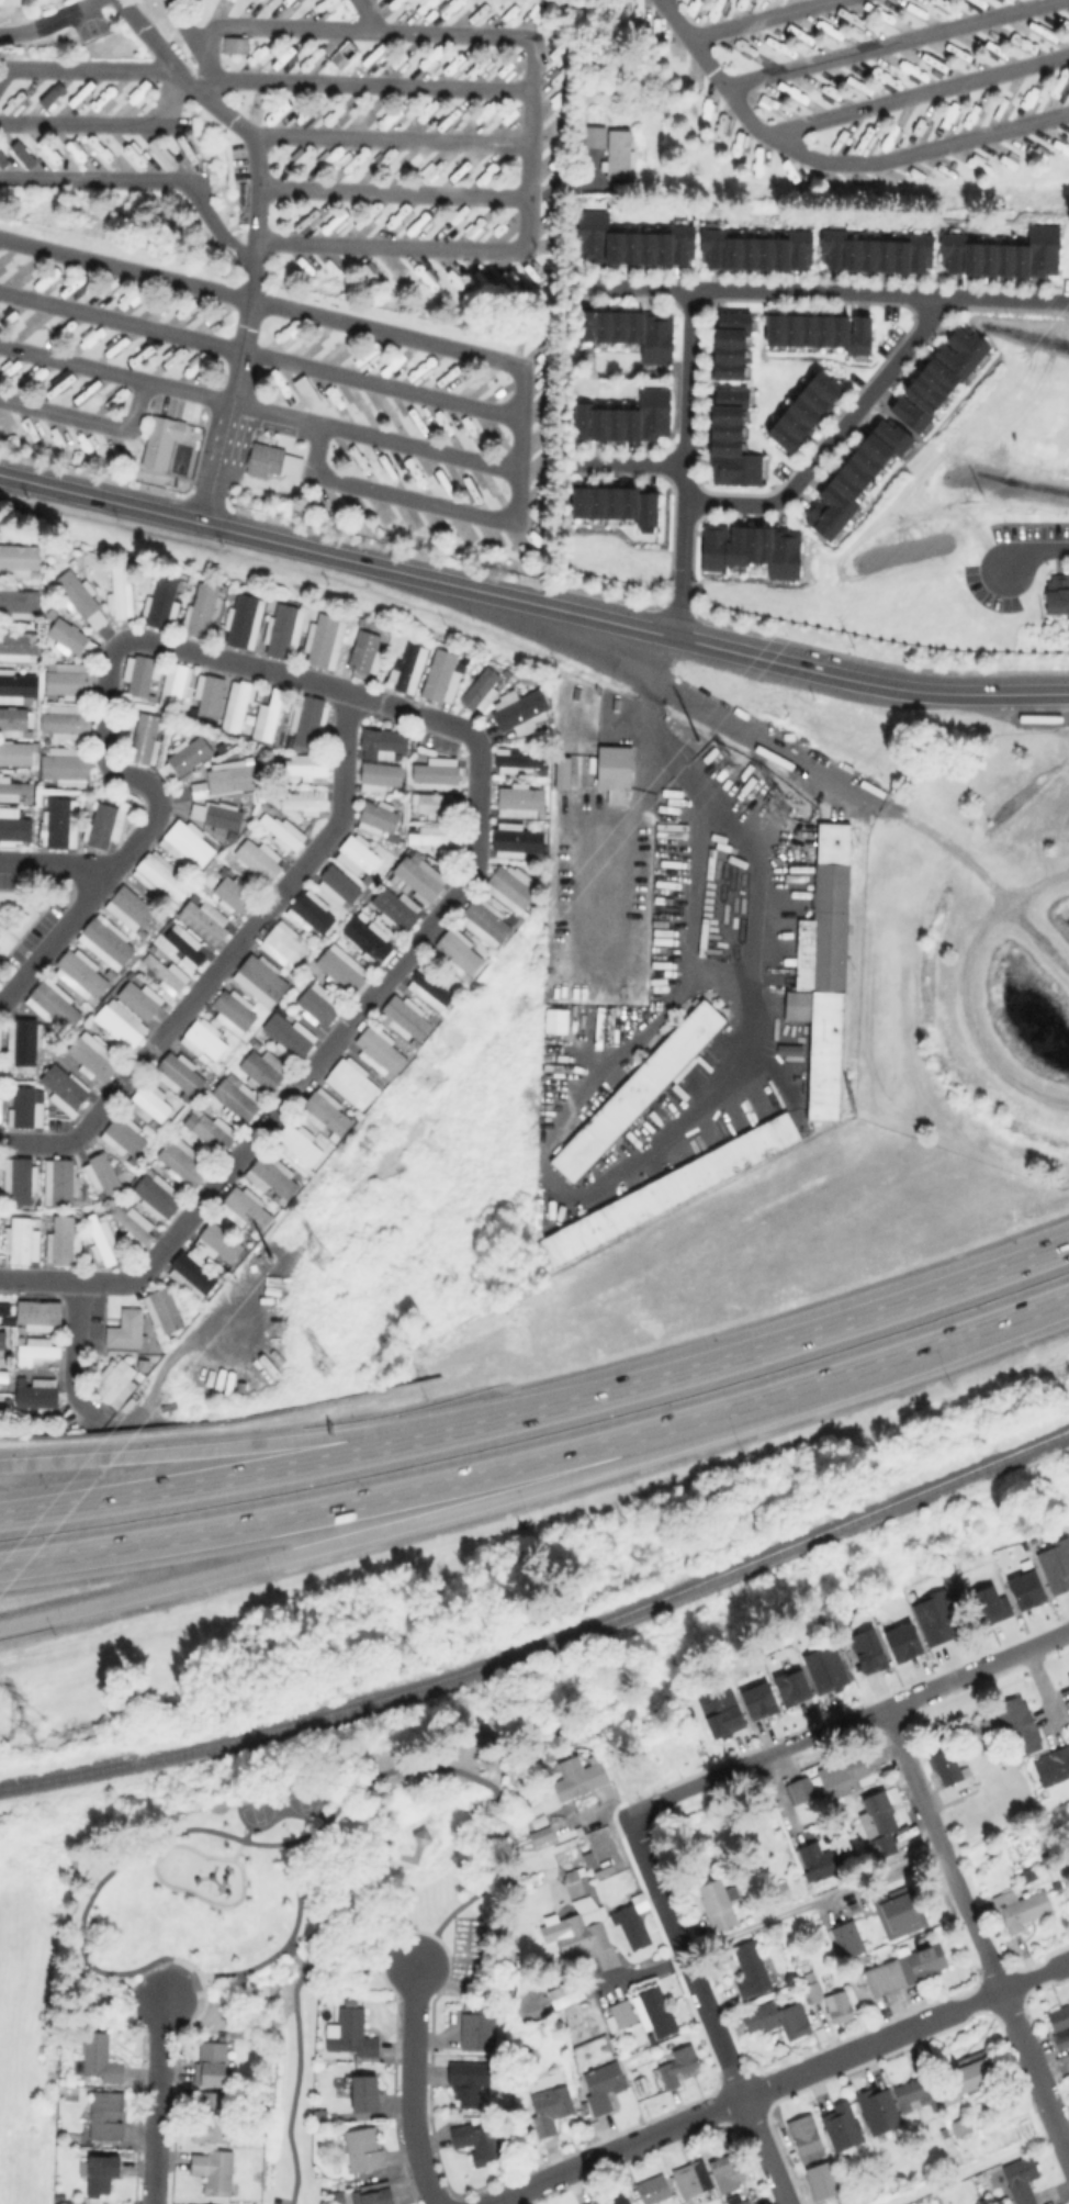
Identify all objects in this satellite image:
road: (363, 14)
road: (753, 18)
road: (49, 24)
road: (885, 42)
building: (234, 44)
building: (342, 54)
road: (83, 67)
road: (326, 80)
road: (205, 85)
road: (915, 93)
building: (47, 96)
building: (12, 99)
road: (529, 100)
road: (89, 121)
road: (387, 136)
building: (594, 136)
building: (21, 153)
building: (160, 153)
building: (616, 153)
building: (1, 159)
road: (831, 160)
road: (91, 176)
road: (392, 190)
road: (213, 224)
road: (255, 237)
building: (632, 242)
building: (758, 251)
building: (878, 253)
building: (1004, 255)
road: (762, 291)
road: (1001, 299)
building: (824, 332)
building: (633, 333)
building: (734, 345)
road: (460, 349)
road: (259, 354)
road: (688, 377)
building: (942, 377)
building: (305, 392)
road: (257, 410)
building: (806, 413)
road: (87, 417)
building: (628, 419)
building: (159, 439)
road: (833, 439)
building: (733, 441)
building: (270, 460)
road: (632, 462)
building: (856, 480)
building: (618, 505)
road: (277, 542)
building: (753, 549)
road: (682, 552)
road: (1036, 552)
building: (18, 556)
building: (120, 591)
building: (74, 593)
building: (1057, 595)
building: (19, 600)
building: (159, 601)
building: (200, 609)
building: (49, 612)
building: (239, 619)
building: (280, 628)
building: (65, 636)
building: (320, 638)
building: (18, 641)
building: (361, 650)
building: (405, 661)
road: (809, 669)
road: (646, 672)
building: (138, 674)
building: (440, 676)
building: (66, 681)
building: (16, 683)
building: (170, 684)
building: (477, 689)
building: (201, 694)
building: (236, 706)
building: (517, 711)
building: (269, 714)
building: (12, 717)
building: (306, 720)
building: (63, 723)
power tower: (695, 737)
road: (750, 737)
building: (140, 738)
building: (379, 741)
road: (479, 749)
building: (18, 752)
building: (188, 754)
building: (518, 760)
power tower: (727, 763)
building: (64, 768)
building: (299, 769)
building: (435, 771)
building: (560, 772)
building: (612, 773)
building: (378, 775)
building: (229, 779)
building: (14, 787)
building: (196, 790)
building: (303, 801)
building: (519, 802)
building: (436, 805)
power tower: (786, 813)
building: (376, 815)
building: (221, 817)
building: (54, 823)
building: (99, 825)
building: (15, 827)
building: (278, 831)
building: (432, 838)
road: (628, 838)
building: (516, 839)
building: (187, 843)
building: (357, 853)
building: (255, 859)
building: (159, 877)
building: (415, 880)
building: (335, 885)
building: (509, 887)
building: (228, 894)
building: (131, 906)
building: (393, 908)
building: (311, 913)
building: (483, 922)
building: (200, 924)
building: (106, 940)
building: (365, 940)
road: (52, 944)
building: (280, 947)
building: (182, 948)
building: (458, 952)
road: (224, 960)
building: (824, 972)
building: (79, 973)
building: (160, 973)
building: (338, 973)
building: (261, 976)
building: (429, 987)
building: (138, 998)
building: (53, 1005)
building: (314, 1007)
building: (232, 1010)
building: (405, 1019)
building: (116, 1028)
building: (284, 1036)
building: (203, 1039)
building: (22, 1042)
building: (379, 1051)
building: (89, 1058)
building: (260, 1071)
building: (178, 1073)
building: (349, 1085)
building: (61, 1087)
building: (637, 1092)
building: (234, 1100)
building: (149, 1103)
building: (20, 1107)
building: (326, 1115)
building: (207, 1129)
building: (121, 1134)
building: (295, 1144)
building: (181, 1162)
road: (614, 1173)
building: (100, 1176)
building: (269, 1177)
building: (18, 1179)
building: (57, 1182)
building: (667, 1189)
building: (244, 1209)
building: (131, 1222)
power tower: (284, 1231)
building: (21, 1239)
building: (100, 1240)
building: (60, 1241)
building: (216, 1242)
power tower: (312, 1255)
building: (191, 1273)
building: (3, 1309)
building: (161, 1311)
building: (37, 1314)
building: (123, 1329)
building: (1, 1339)
road: (792, 1340)
road: (924, 1349)
building: (36, 1350)
road: (74, 1356)
power tower: (320, 1363)
building: (2, 1375)
building: (113, 1383)
building: (34, 1391)
road: (256, 1445)
road: (257, 1473)
road: (392, 1496)
road: (394, 1528)
building: (1055, 1564)
building: (1024, 1589)
building: (989, 1604)
building: (934, 1616)
building: (901, 1642)
railway: (545, 1645)
building: (867, 1651)
building: (825, 1666)
building: (1068, 1675)
building: (790, 1686)
building: (757, 1700)
building: (721, 1713)
power tower: (32, 1722)
road: (847, 1725)
building: (979, 1727)
building: (1017, 1728)
building: (1053, 1766)
building: (948, 1770)
building: (842, 1774)
building: (581, 1781)
building: (800, 1793)
park: (303, 1801)
park: (257, 1812)
road: (593, 1814)
building: (878, 1827)
building: (539, 1834)
building: (421, 1841)
building: (823, 1864)
road: (875, 1876)
park: (304, 1904)
building: (719, 1905)
road: (80, 1911)
building: (1020, 1911)
building: (901, 1913)
building: (633, 1925)
building: (572, 1928)
road: (977, 1929)
building: (849, 1943)
road: (294, 1954)
building: (907, 1971)
road: (639, 1972)
building: (752, 1972)
building: (809, 1988)
road: (704, 2010)
building: (840, 2011)
building: (653, 2016)
building: (622, 2017)
building: (775, 2022)
road: (295, 2025)
building: (1060, 2025)
building: (480, 2030)
building: (352, 2038)
building: (99, 2061)
building: (679, 2065)
building: (213, 2066)
building: (975, 2073)
building: (468, 2081)
road: (775, 2084)
road: (414, 2088)
building: (603, 2091)
building: (912, 2095)
building: (367, 2096)
building: (946, 2099)
road: (158, 2102)
building: (876, 2110)
building: (552, 2113)
building: (319, 2116)
building: (106, 2117)
building: (214, 2122)
building: (840, 2125)
building: (961, 2126)
building: (807, 2140)
building: (479, 2145)
building: (364, 2152)
road: (978, 2166)
building: (215, 2173)
building: (727, 2174)
building: (102, 2175)
building: (1022, 2179)
building: (691, 2182)
building: (823, 2184)
building: (655, 2191)
building: (334, 2195)
building: (376, 2196)
building: (960, 2196)
building: (59, 2197)
building: (620, 2201)
building: (745, 2202)

